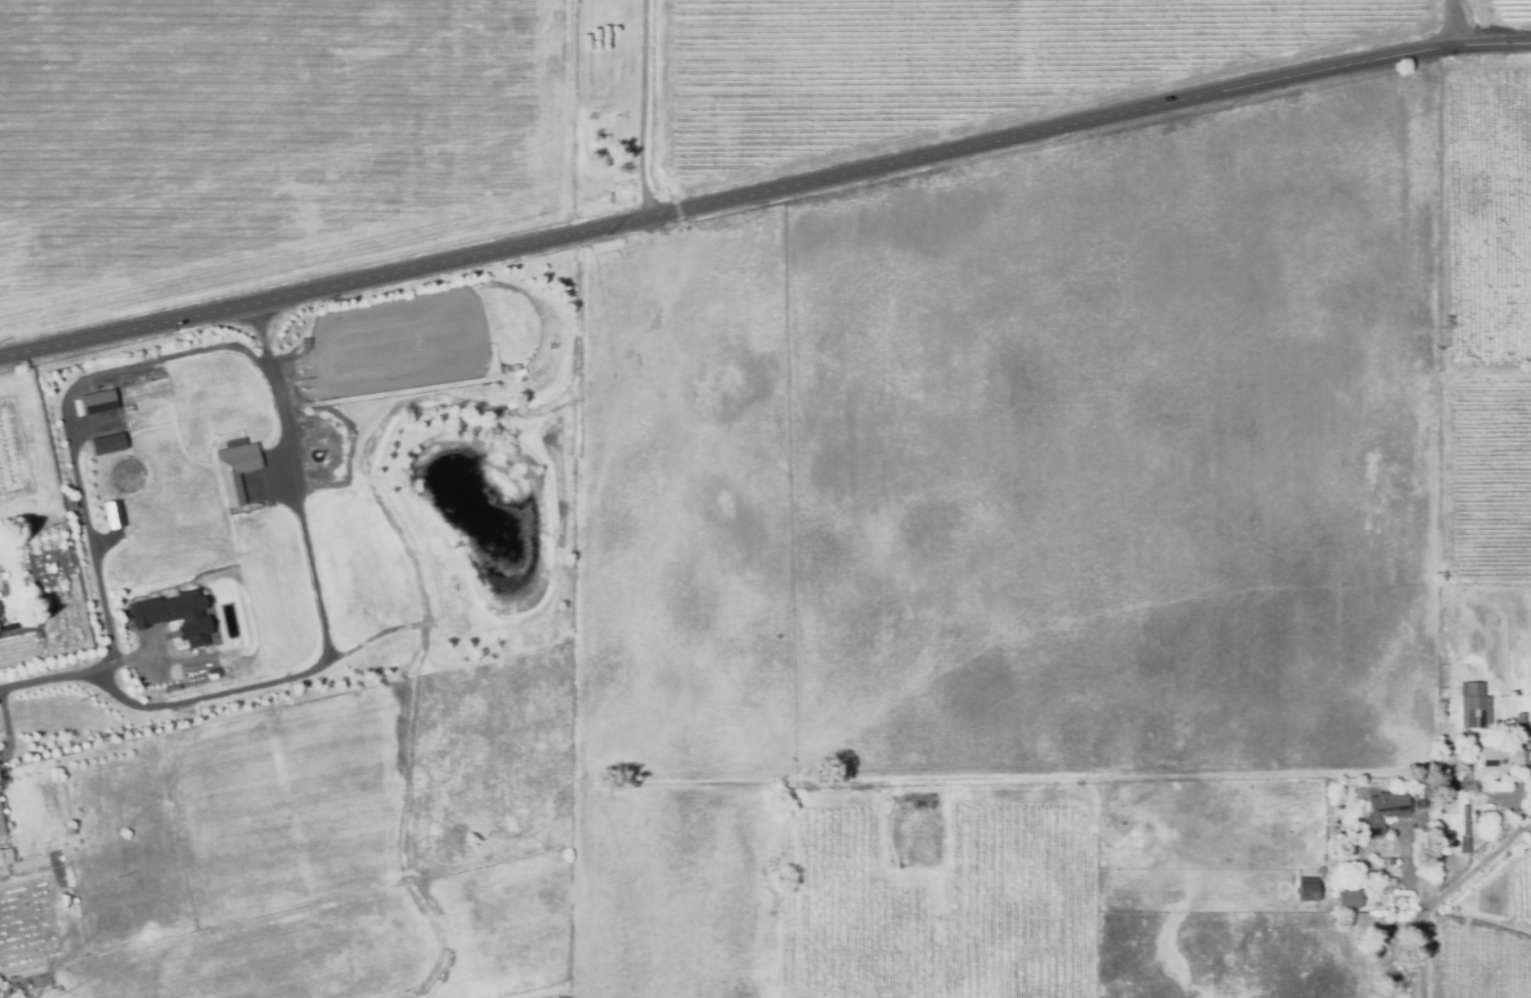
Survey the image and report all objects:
road: (1449, 21)
road: (764, 187)
building: (96, 400)
road: (67, 432)
building: (106, 444)
building: (234, 468)
building: (111, 514)
building: (173, 617)
building: (218, 621)
road: (325, 646)
building: (1472, 710)
building: (1520, 722)
building: (1502, 760)
building: (1463, 771)
building: (1384, 807)
building: (1483, 808)
building: (0, 824)
building: (1464, 830)
building: (4, 857)
building: (1391, 862)
road: (1471, 869)
building: (1321, 871)
building: (1307, 889)
building: (1350, 898)
building: (1381, 926)
building: (1391, 930)
building: (1380, 944)
road: (1422, 955)
building: (2, 989)

